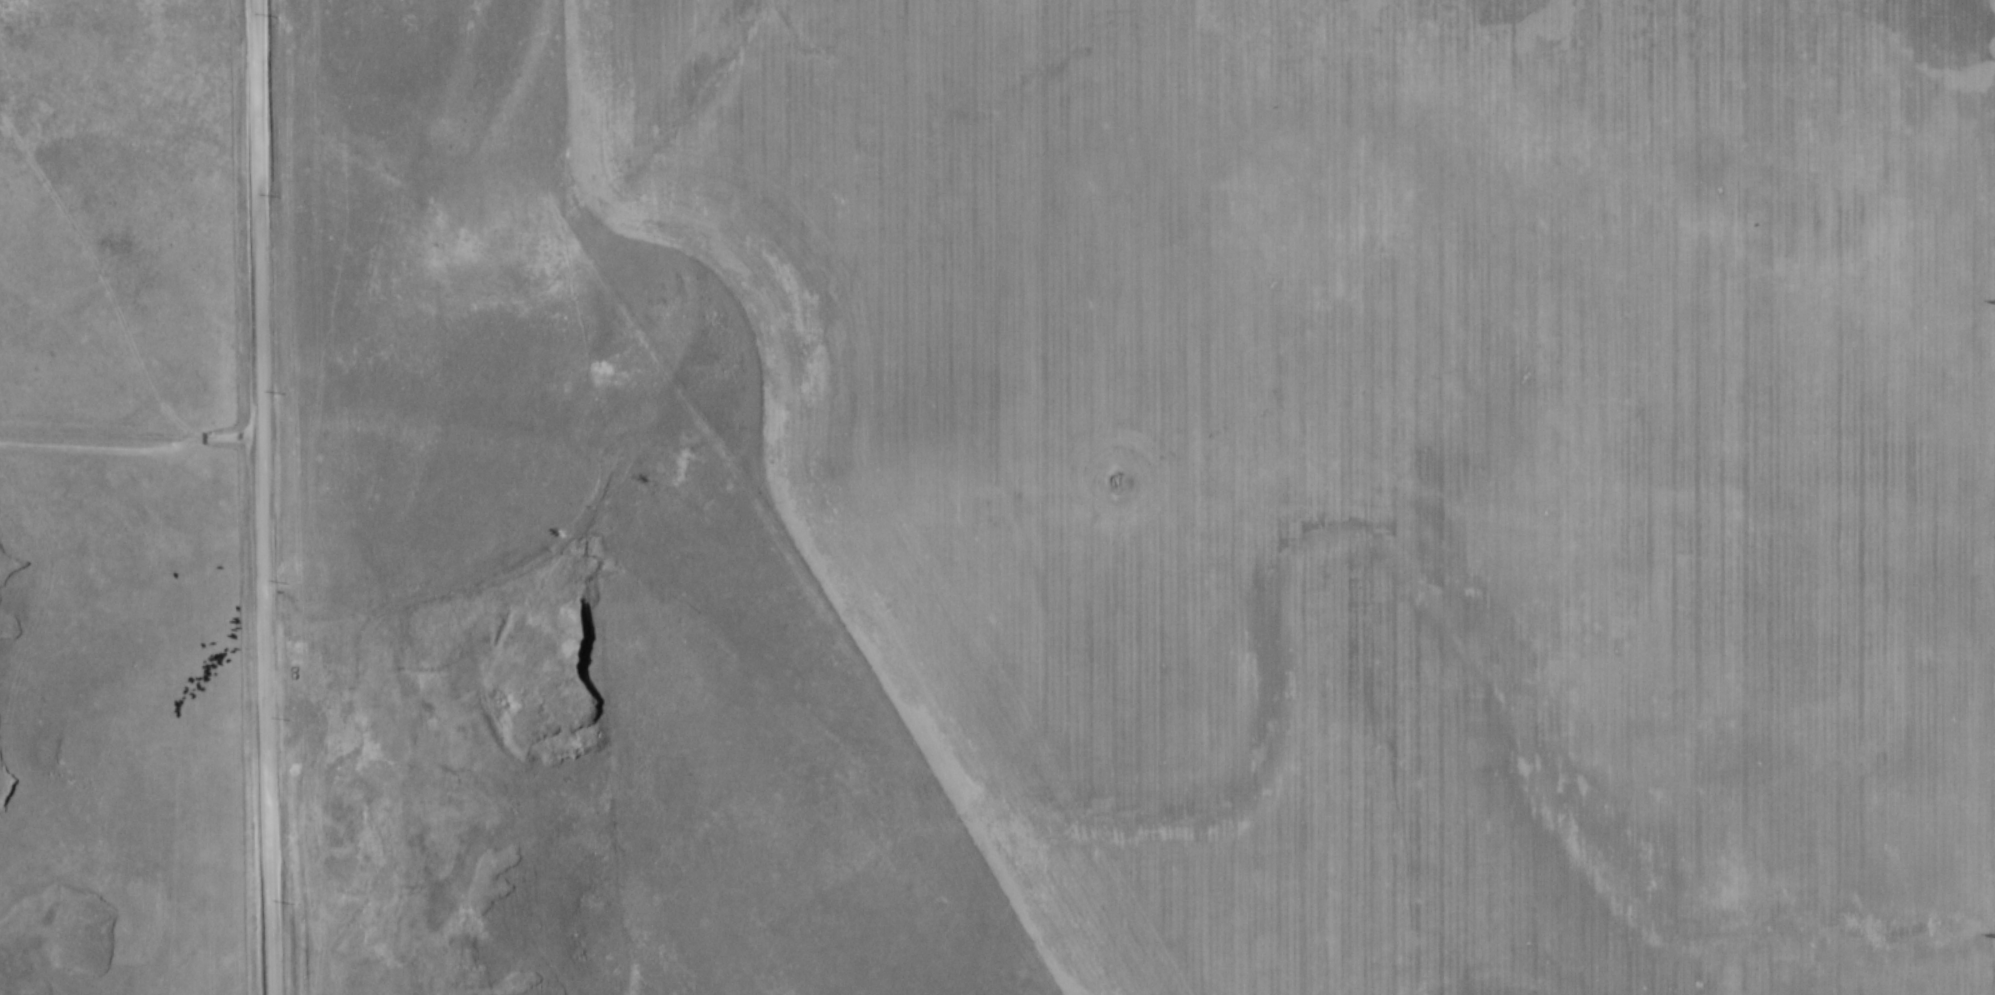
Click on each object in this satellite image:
crop: (1383, 461)
road: (262, 497)

